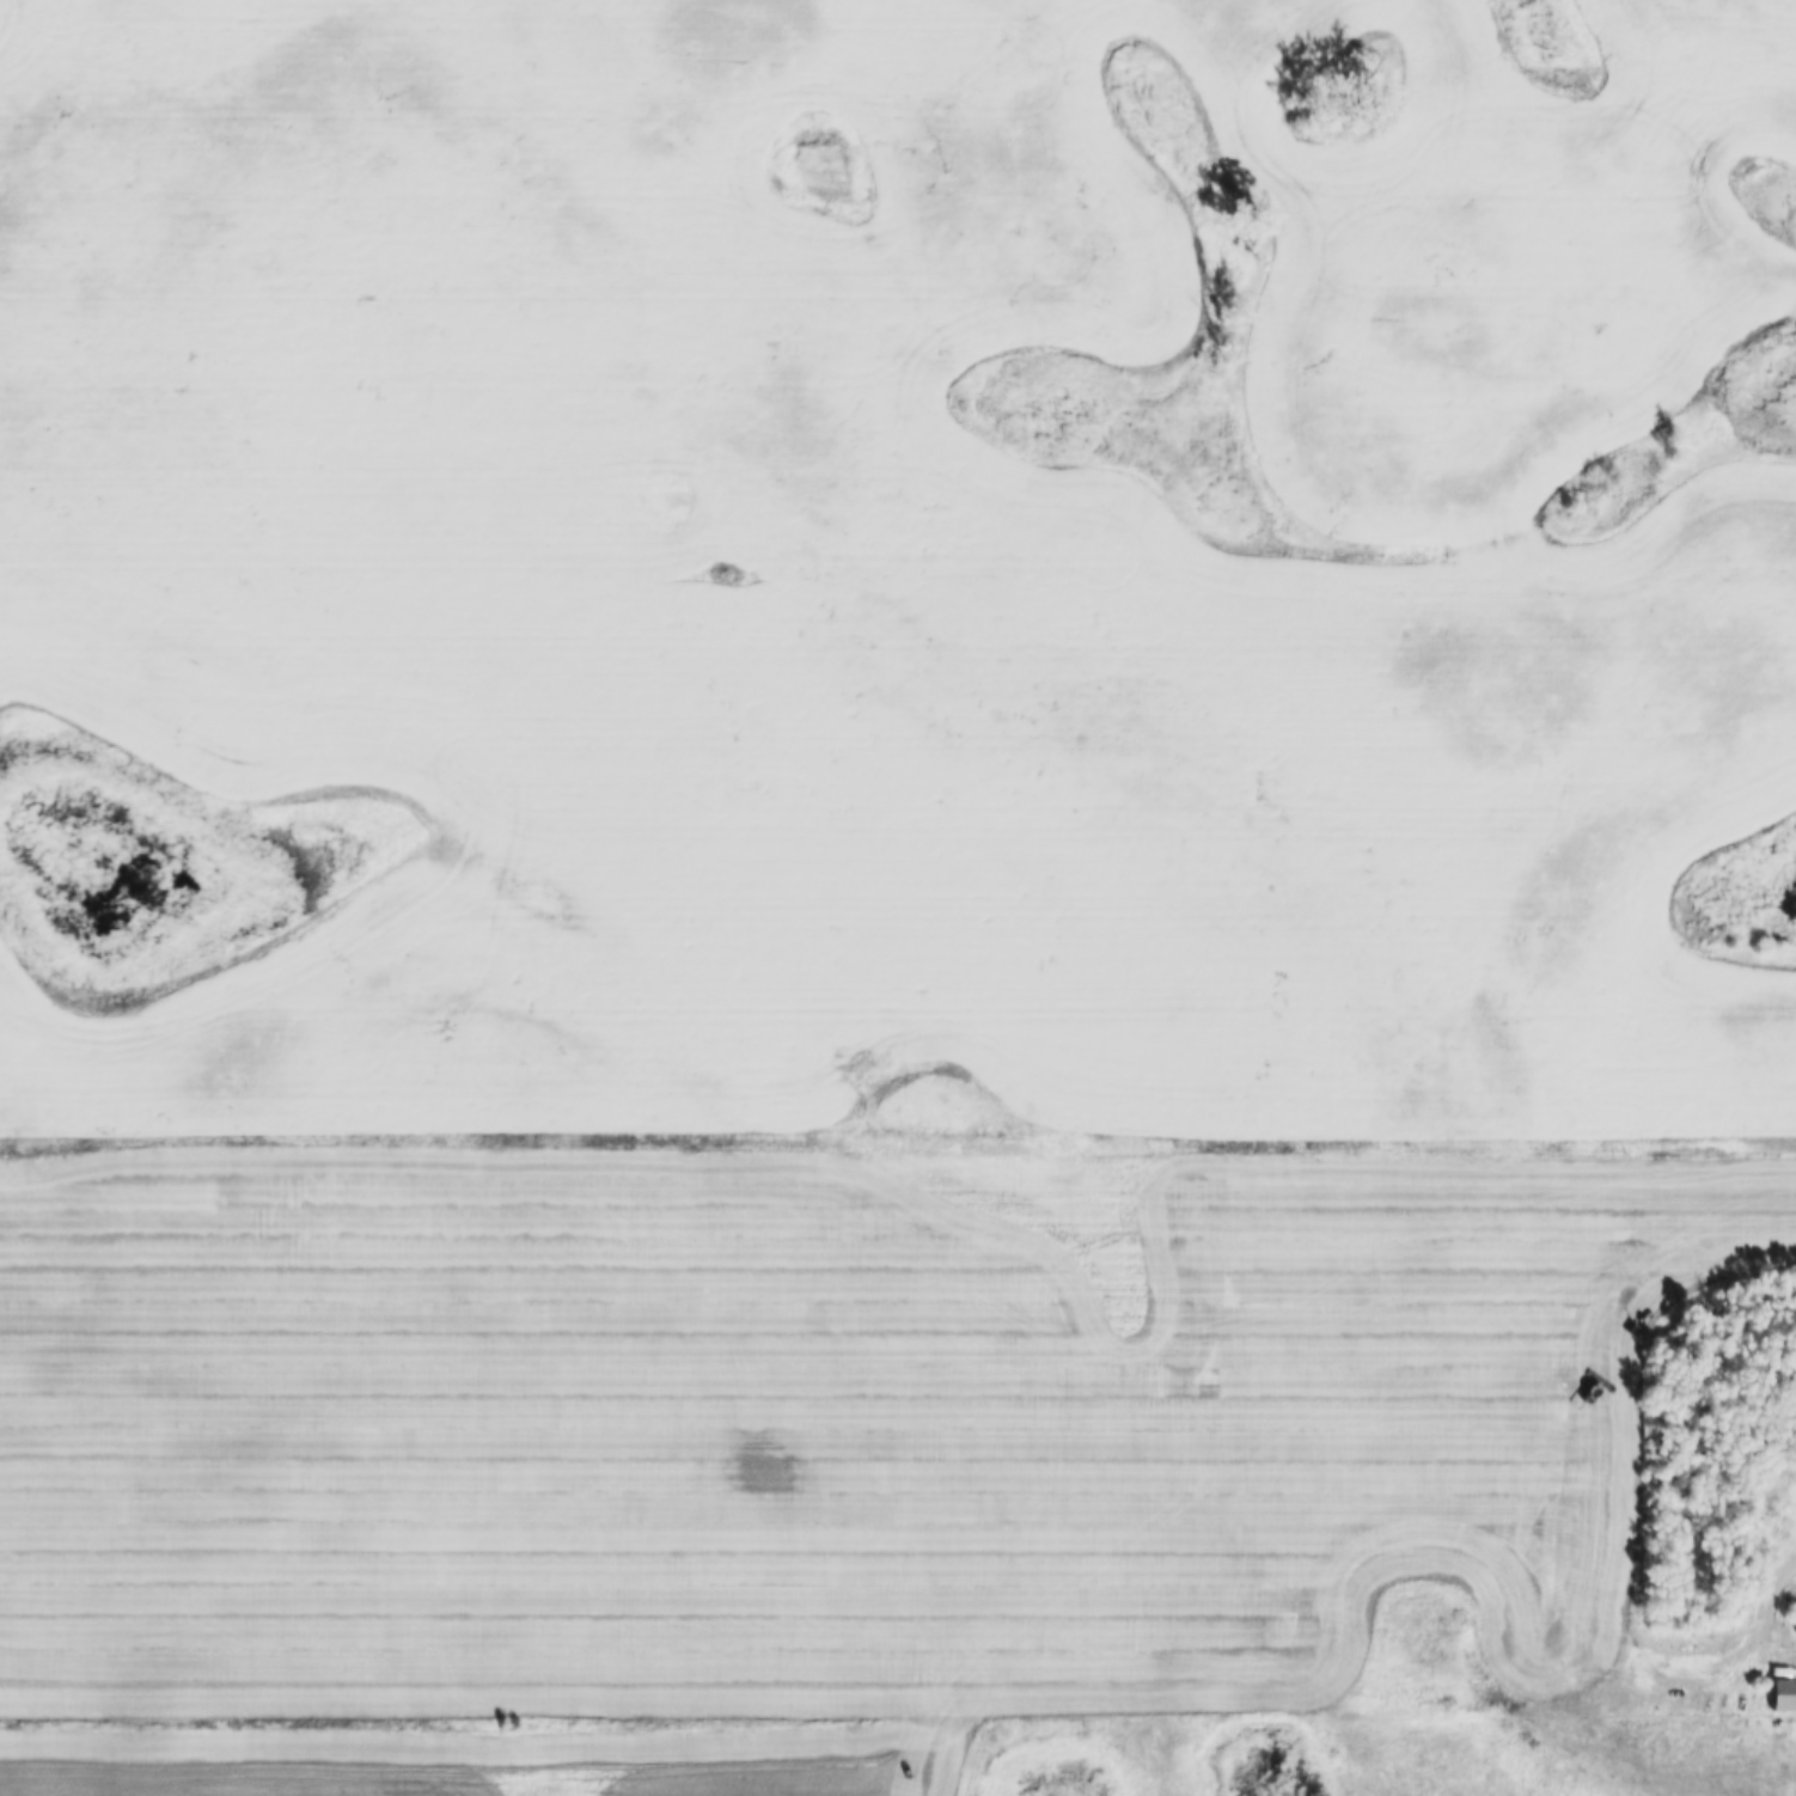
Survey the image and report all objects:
building: (1792, 1624)
building: (1786, 1685)

